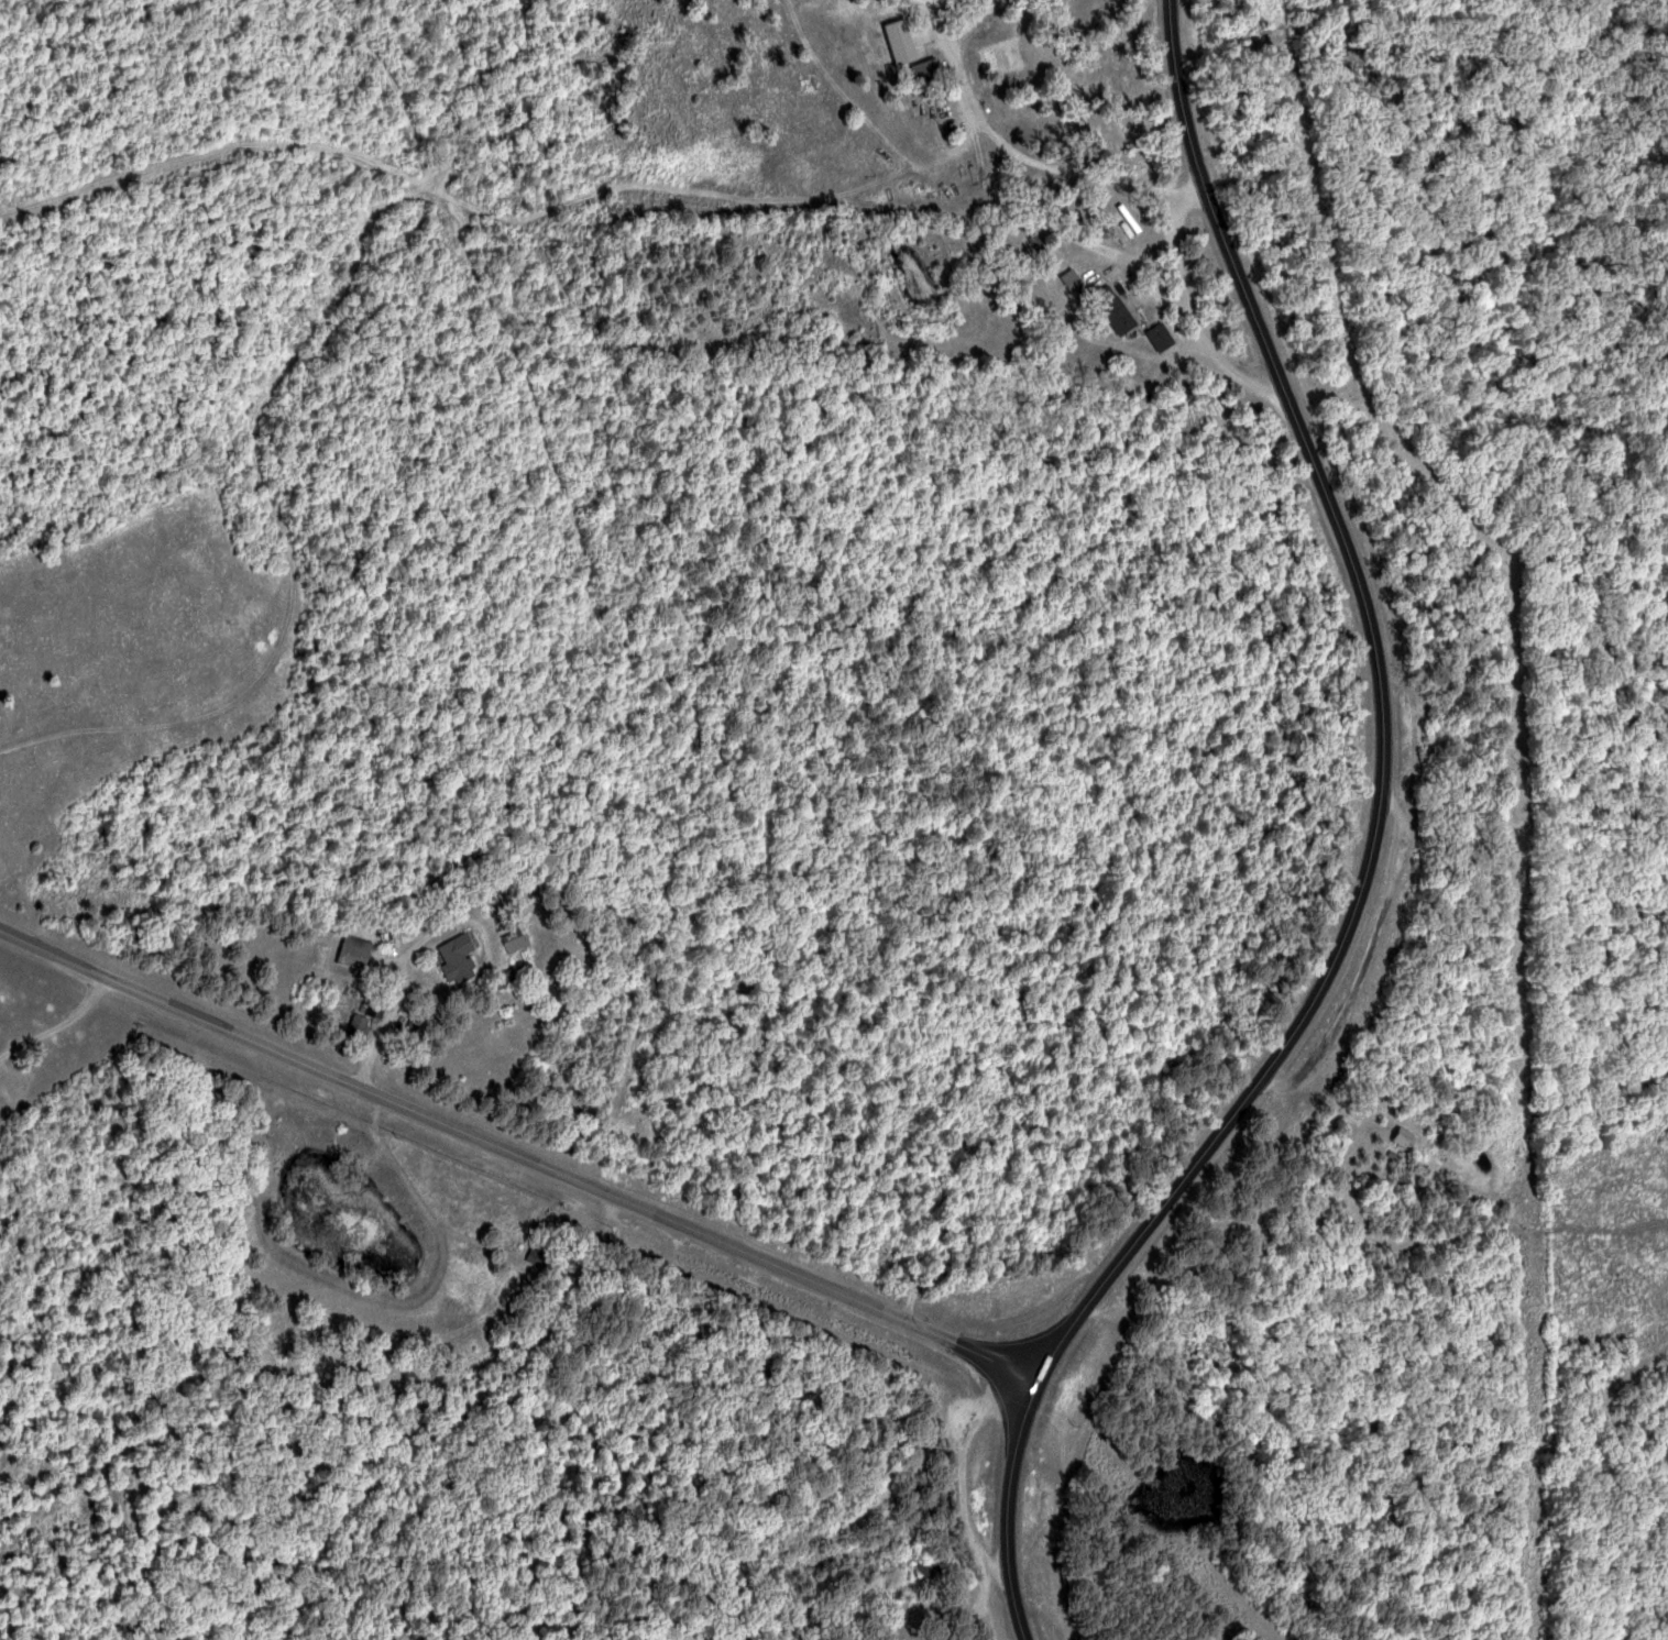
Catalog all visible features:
building: (902, 42)
building: (1075, 280)
building: (1116, 308)
building: (1162, 335)
road: (1372, 855)
building: (518, 938)
building: (458, 949)
building: (358, 951)
road: (519, 1155)

